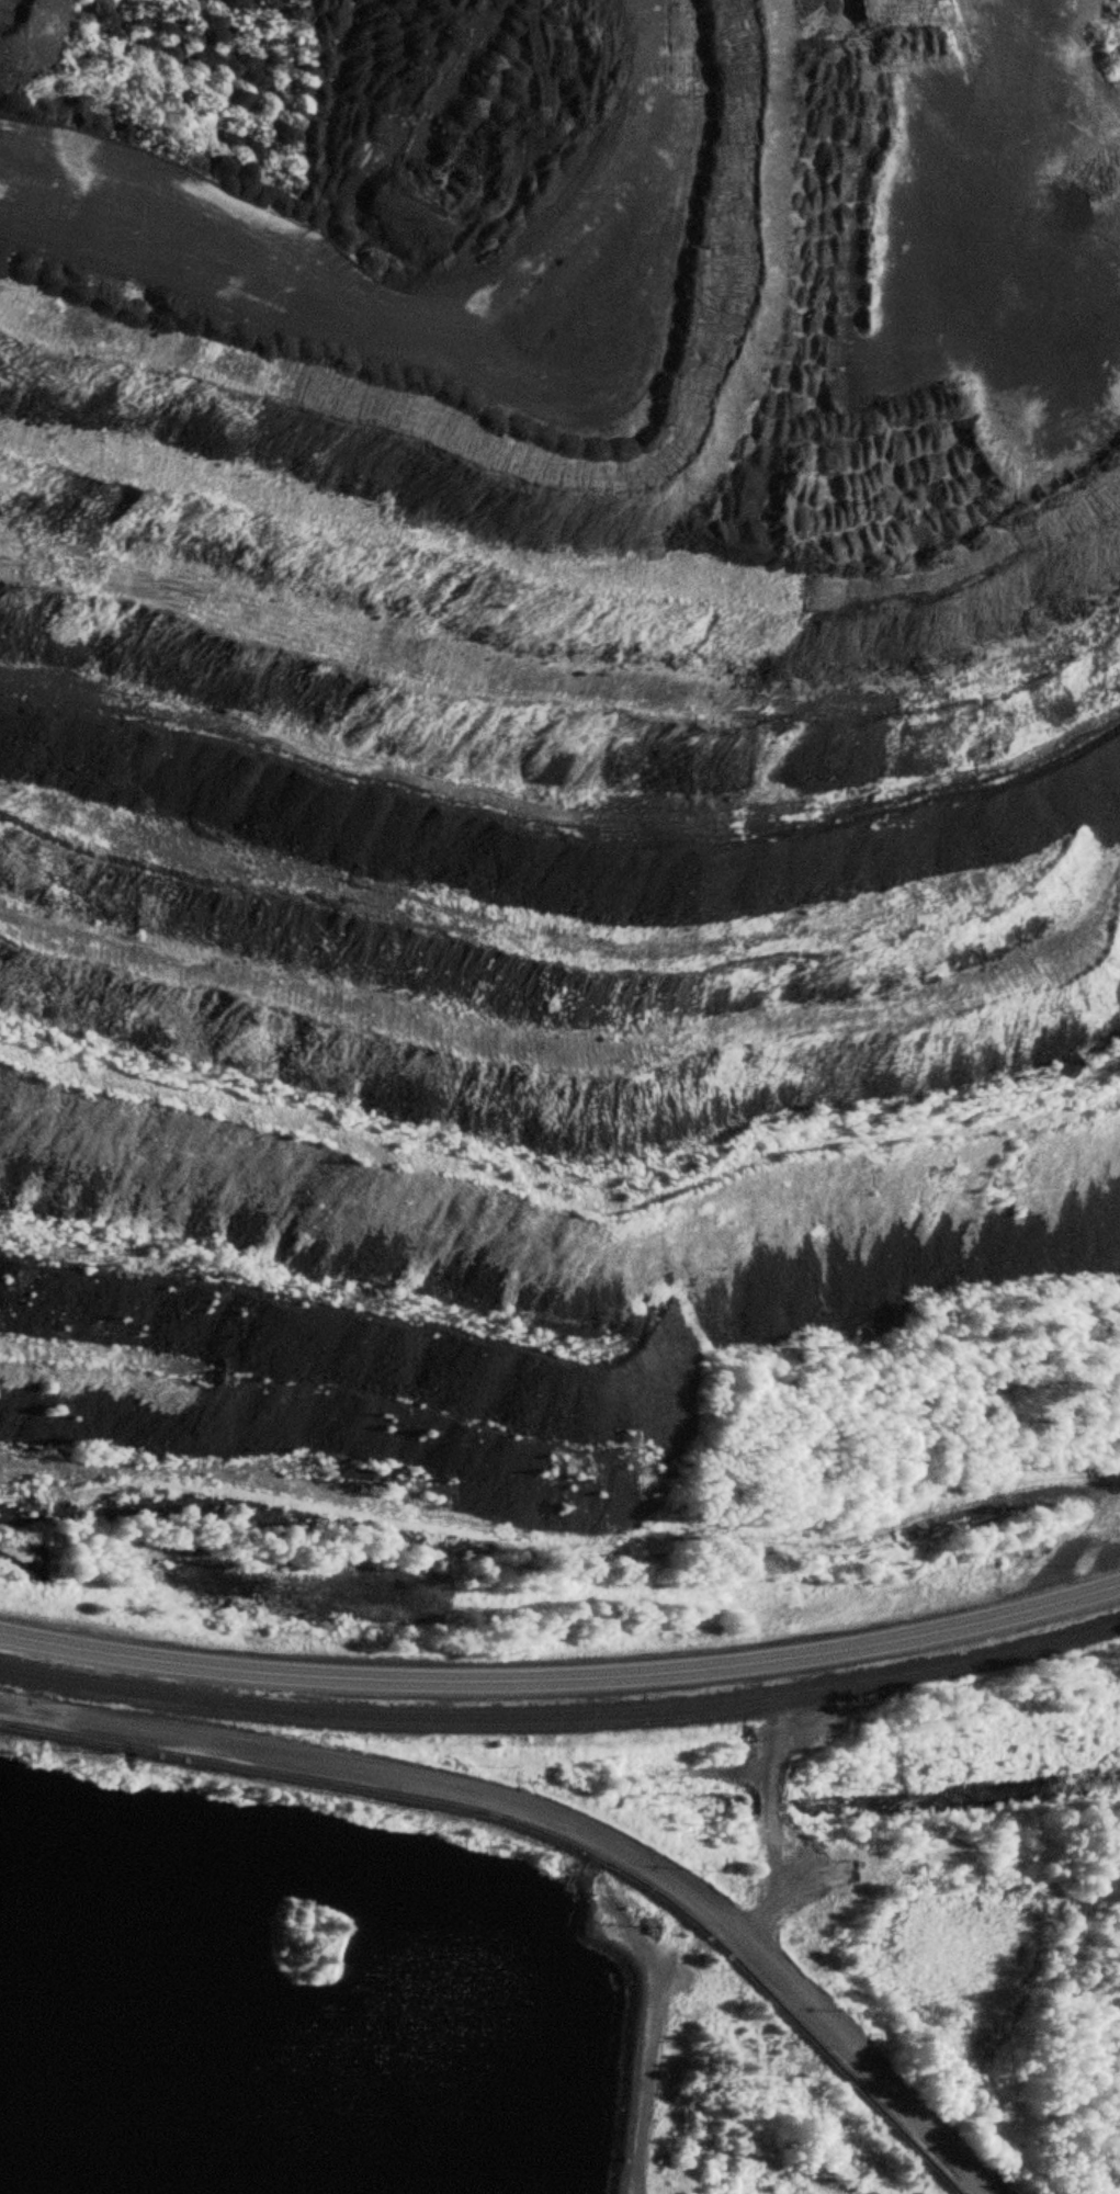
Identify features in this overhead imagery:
quarry: (538, 720)
road: (563, 1677)
railway: (563, 1719)
road: (361, 1771)
road: (842, 2047)

